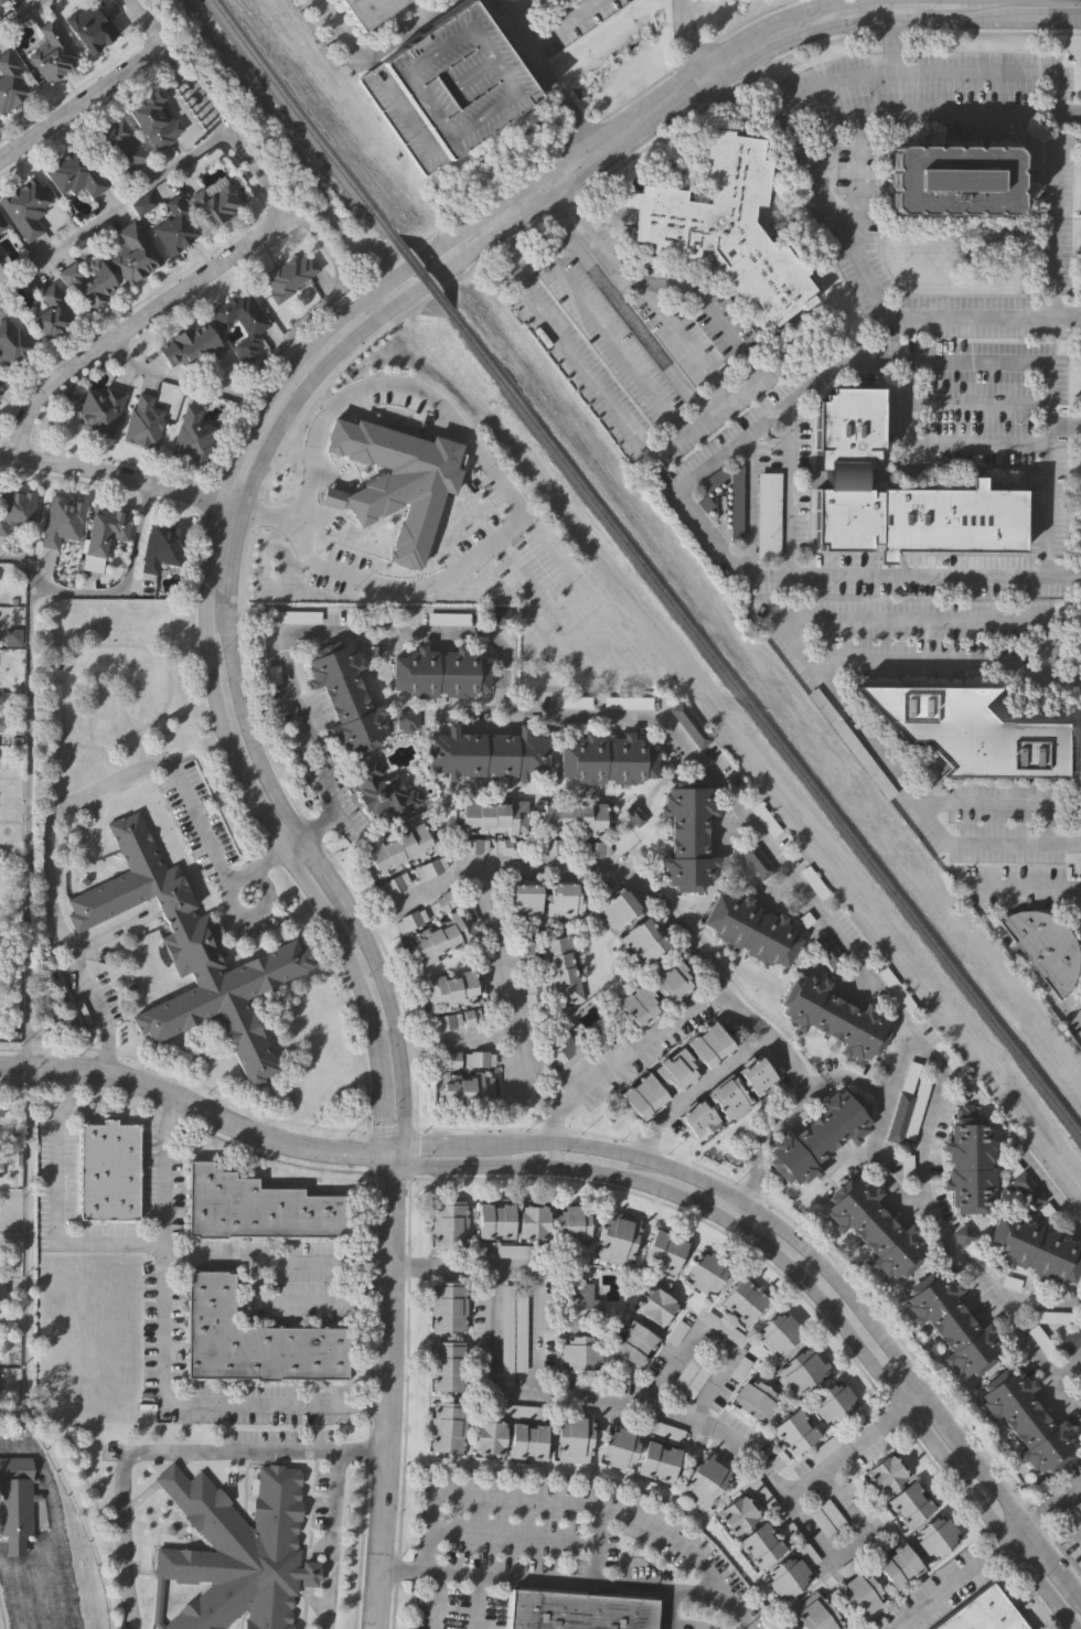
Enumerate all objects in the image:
building: (0, 0)
road: (494, 1)
road: (520, 9)
building: (372, 11)
road: (23, 14)
road: (560, 23)
road: (900, 33)
road: (745, 36)
road: (794, 41)
road: (686, 43)
road: (374, 50)
building: (53, 52)
building: (11, 81)
railway: (274, 81)
road: (548, 81)
building: (450, 87)
parking garage: (450, 87)
road: (79, 101)
road: (203, 104)
road: (892, 114)
road: (1067, 115)
building: (153, 117)
road: (598, 129)
building: (119, 142)
building: (74, 173)
building: (955, 181)
road: (543, 184)
road: (552, 199)
building: (215, 203)
building: (24, 208)
road: (564, 208)
road: (111, 210)
road: (558, 217)
road: (571, 222)
building: (1, 226)
building: (723, 227)
building: (174, 228)
building: (0, 229)
railway: (390, 236)
road: (1053, 249)
building: (133, 254)
road: (462, 256)
building: (288, 277)
building: (89, 281)
road: (341, 310)
building: (50, 311)
road: (1068, 315)
building: (243, 319)
road: (711, 320)
road: (135, 322)
road: (612, 339)
building: (12, 344)
building: (190, 345)
road: (271, 356)
building: (0, 382)
building: (0, 386)
building: (100, 409)
building: (143, 421)
building: (848, 424)
road: (908, 426)
road: (1064, 428)
building: (192, 436)
road: (656, 449)
building: (845, 473)
road: (121, 475)
building: (395, 479)
road: (505, 490)
building: (15, 507)
building: (920, 518)
building: (62, 521)
building: (106, 528)
building: (162, 546)
road: (742, 570)
road: (1064, 576)
road: (111, 594)
road: (570, 601)
building: (299, 615)
parking lot: (299, 615)
building: (449, 617)
parking lot: (449, 617)
road: (803, 655)
road: (945, 663)
building: (441, 673)
building: (347, 697)
road: (292, 698)
building: (575, 700)
parking lot: (575, 700)
building: (630, 701)
parking lot: (630, 701)
building: (1, 714)
building: (408, 720)
railway: (764, 724)
building: (691, 725)
parking lot: (691, 725)
building: (970, 730)
road: (249, 742)
building: (849, 742)
building: (486, 754)
building: (608, 760)
road: (106, 781)
building: (381, 792)
road: (730, 801)
road: (1002, 802)
building: (493, 816)
building: (571, 819)
road: (28, 821)
building: (764, 821)
parking lot: (764, 821)
road: (340, 826)
building: (686, 837)
building: (472, 845)
road: (276, 847)
building: (511, 847)
building: (553, 847)
building: (399, 848)
building: (592, 850)
building: (756, 864)
parking lot: (756, 864)
road: (740, 866)
building: (429, 867)
road: (495, 867)
building: (393, 885)
building: (813, 885)
parking lot: (813, 885)
road: (430, 887)
road: (1025, 889)
building: (547, 901)
building: (443, 903)
building: (618, 911)
building: (409, 921)
building: (751, 932)
building: (442, 937)
building: (641, 942)
building: (1045, 946)
building: (189, 952)
building: (527, 953)
parking lot: (527, 953)
building: (826, 954)
parking lot: (826, 954)
building: (560, 972)
building: (671, 983)
building: (451, 989)
building: (533, 992)
building: (895, 994)
parking lot: (895, 994)
building: (636, 1005)
road: (739, 1016)
building: (832, 1019)
building: (446, 1022)
road: (453, 1038)
building: (566, 1049)
building: (942, 1053)
parking lot: (942, 1053)
building: (477, 1059)
road: (895, 1064)
building: (675, 1069)
building: (907, 1076)
parking lot: (907, 1076)
road: (847, 1078)
road: (693, 1089)
building: (465, 1090)
building: (727, 1101)
road: (184, 1104)
building: (913, 1110)
parking lot: (913, 1110)
building: (1, 1111)
building: (897, 1116)
parking lot: (897, 1116)
building: (816, 1137)
road: (425, 1144)
road: (517, 1144)
road: (586, 1147)
road: (552, 1154)
building: (0, 1162)
building: (968, 1162)
road: (426, 1165)
road: (520, 1165)
road: (598, 1169)
building: (105, 1170)
building: (1019, 1185)
parking lot: (1019, 1185)
road: (1049, 1190)
road: (56, 1204)
building: (260, 1207)
building: (512, 1221)
building: (570, 1224)
building: (446, 1226)
building: (873, 1229)
building: (616, 1241)
road: (25, 1248)
building: (1035, 1250)
building: (664, 1252)
road: (953, 1252)
building: (517, 1253)
parking lot: (517, 1253)
road: (275, 1261)
building: (980, 1261)
parking lot: (980, 1261)
road: (533, 1263)
building: (707, 1272)
road: (297, 1301)
building: (745, 1301)
road: (1032, 1301)
building: (578, 1304)
building: (446, 1307)
building: (657, 1307)
building: (1047, 1317)
parking lot: (1047, 1317)
building: (950, 1323)
building: (720, 1328)
parking lot: (720, 1328)
building: (512, 1330)
parking lot: (512, 1330)
building: (780, 1332)
building: (253, 1338)
road: (706, 1338)
building: (1037, 1339)
parking lot: (1037, 1339)
building: (1068, 1342)
parking lot: (1068, 1342)
building: (634, 1344)
road: (880, 1347)
building: (577, 1353)
road: (162, 1359)
building: (448, 1368)
building: (801, 1370)
building: (3, 1378)
building: (688, 1378)
parking lot: (688, 1378)
road: (880, 1379)
building: (1080, 1384)
building: (595, 1386)
parking lot: (595, 1386)
building: (1079, 1393)
building: (756, 1398)
building: (834, 1402)
road: (386, 1405)
building: (521, 1412)
parking lot: (521, 1412)
building: (1026, 1419)
building: (446, 1428)
building: (655, 1429)
parking lot: (655, 1429)
building: (795, 1430)
building: (574, 1436)
building: (488, 1439)
building: (833, 1440)
building: (529, 1443)
building: (619, 1448)
road: (168, 1451)
building: (657, 1461)
building: (886, 1475)
road: (43, 1482)
building: (706, 1482)
building: (758, 1486)
parking lot: (758, 1486)
road: (1067, 1488)
road: (477, 1496)
building: (15, 1501)
building: (1078, 1503)
building: (910, 1504)
building: (737, 1514)
road: (1037, 1514)
road: (1067, 1517)
road: (639, 1518)
building: (828, 1518)
parking lot: (828, 1518)
building: (935, 1535)
road: (512, 1536)
road: (1014, 1536)
road: (333, 1540)
building: (801, 1542)
parking lot: (801, 1542)
building: (760, 1544)
road: (848, 1545)
road: (0, 1547)
road: (13, 1547)
building: (236, 1552)
building: (859, 1561)
parking lot: (859, 1561)
building: (897, 1565)
building: (788, 1576)
road: (570, 1583)
road: (949, 1586)
building: (860, 1595)
road: (437, 1601)
road: (474, 1603)
building: (575, 1609)
building: (985, 1612)
building: (814, 1615)
road: (55, 1627)

